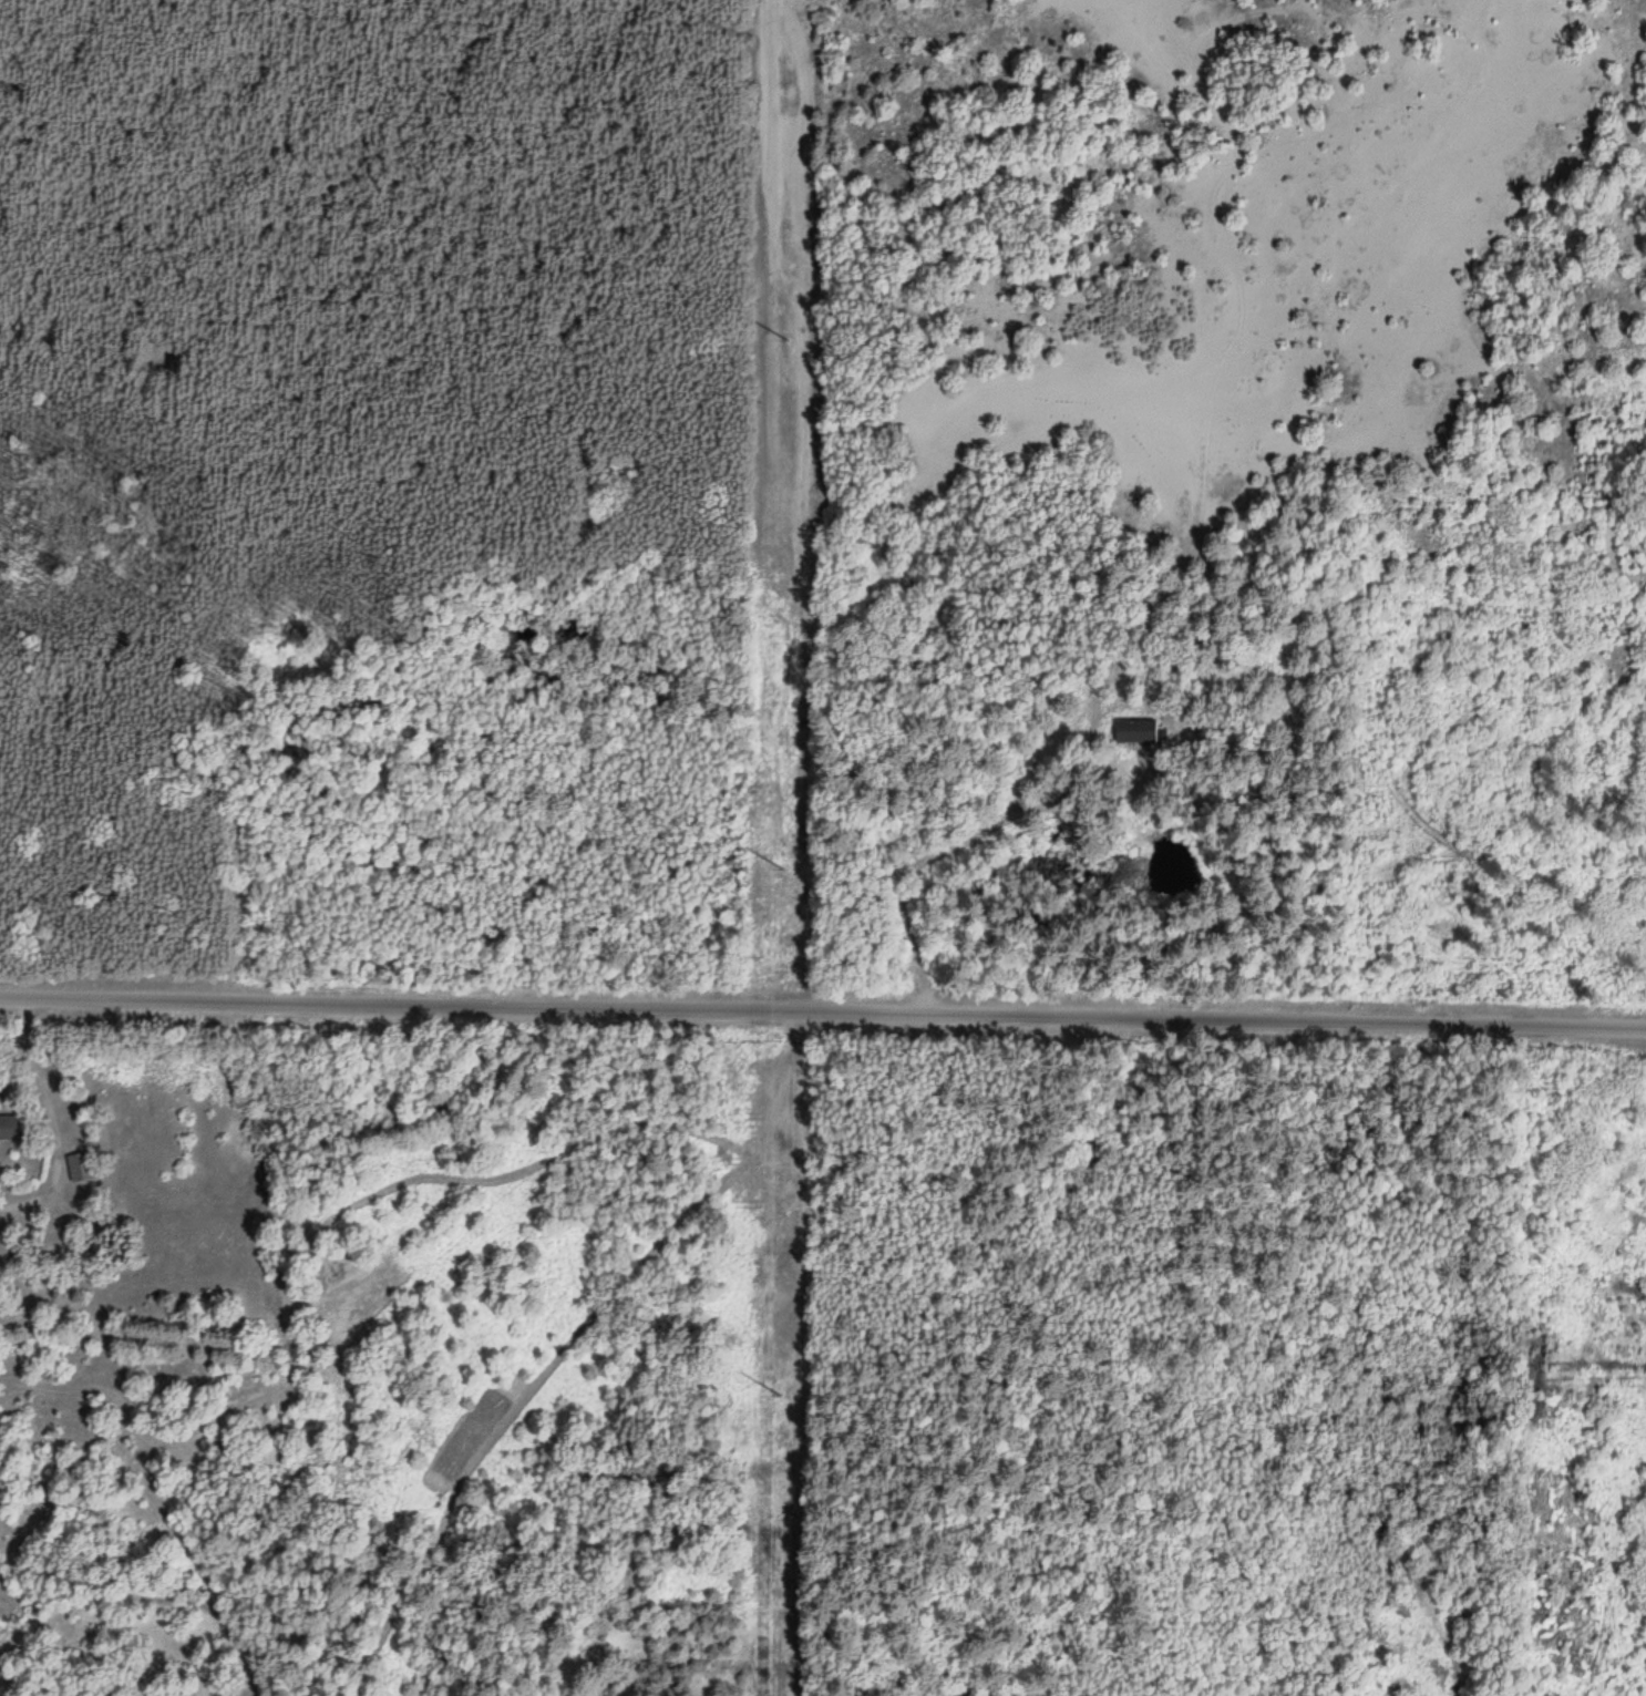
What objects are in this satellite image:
building: (1133, 730)
road: (823, 1001)
building: (10, 1127)
building: (80, 1166)

